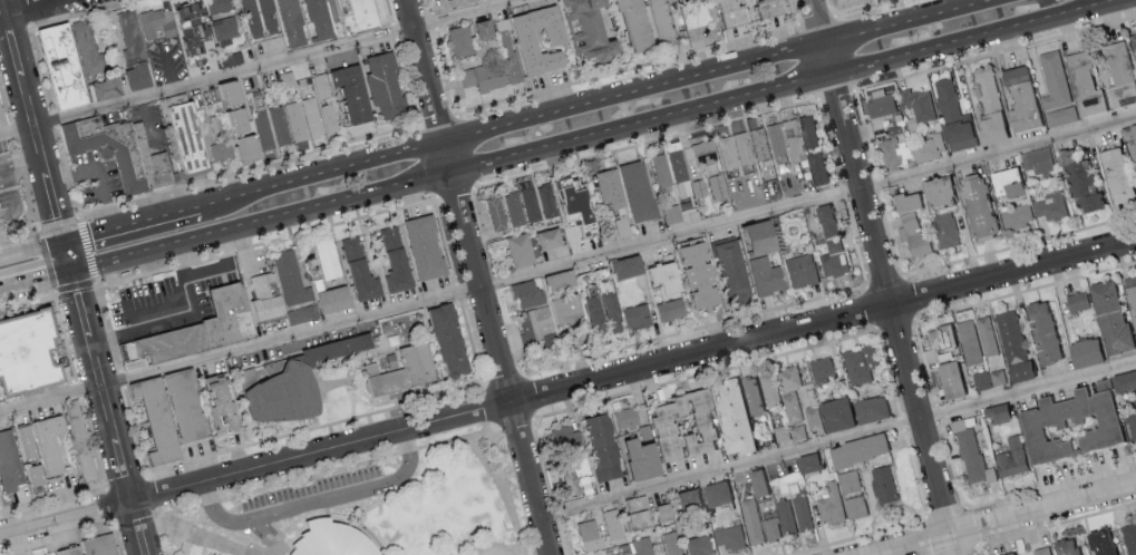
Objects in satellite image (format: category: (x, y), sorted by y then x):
building: (679, 0)
road: (55, 1)
building: (444, 2)
road: (33, 8)
building: (764, 8)
building: (725, 13)
building: (356, 14)
building: (266, 17)
building: (321, 20)
building: (657, 21)
building: (157, 23)
building: (294, 23)
road: (818, 23)
road: (912, 23)
building: (207, 25)
building: (629, 26)
building: (582, 31)
building: (466, 37)
road: (980, 39)
building: (1133, 41)
building: (526, 43)
building: (135, 51)
road: (994, 51)
building: (233, 59)
building: (72, 60)
road: (828, 62)
road: (254, 70)
road: (169, 72)
road: (425, 72)
building: (1117, 75)
building: (480, 78)
building: (1052, 79)
building: (1082, 85)
building: (321, 86)
building: (388, 86)
building: (109, 88)
building: (233, 91)
building: (356, 93)
road: (836, 93)
road: (634, 96)
building: (946, 98)
building: (1019, 99)
building: (881, 103)
building: (917, 106)
building: (988, 109)
building: (1060, 115)
building: (1, 119)
building: (241, 119)
building: (303, 119)
building: (329, 119)
building: (215, 124)
road: (148, 126)
road: (642, 126)
road: (36, 129)
road: (865, 130)
building: (955, 132)
building: (265, 136)
building: (190, 137)
building: (775, 139)
building: (793, 139)
building: (1132, 139)
road: (828, 140)
road: (647, 143)
building: (759, 144)
building: (894, 147)
building: (928, 147)
building: (744, 148)
building: (222, 152)
building: (136, 153)
building: (702, 153)
building: (727, 153)
road: (1, 159)
road: (449, 160)
building: (1039, 160)
building: (817, 167)
building: (660, 169)
building: (678, 169)
road: (6, 173)
road: (99, 174)
building: (1116, 176)
road: (322, 178)
building: (1079, 181)
road: (877, 182)
building: (1004, 183)
building: (716, 187)
building: (697, 188)
building: (604, 189)
road: (456, 192)
building: (632, 192)
road: (843, 192)
building: (936, 192)
road: (161, 194)
building: (527, 199)
building: (545, 201)
building: (566, 202)
building: (905, 202)
building: (1050, 206)
building: (977, 208)
building: (513, 210)
building: (494, 213)
building: (671, 214)
building: (1017, 216)
building: (826, 221)
road: (263, 224)
road: (133, 227)
building: (945, 230)
road: (891, 233)
building: (913, 235)
road: (444, 238)
building: (753, 238)
building: (544, 240)
road: (856, 242)
road: (266, 243)
road: (1019, 244)
traffic signals: (67, 245)
building: (834, 245)
building: (428, 247)
building: (353, 249)
building: (520, 251)
road: (245, 252)
road: (33, 253)
building: (398, 261)
road: (567, 262)
building: (833, 264)
road: (222, 265)
building: (622, 266)
building: (799, 271)
building: (729, 272)
traffic signals: (74, 274)
building: (693, 275)
building: (765, 276)
building: (292, 280)
building: (661, 280)
building: (366, 281)
building: (555, 281)
road: (885, 281)
road: (37, 283)
road: (497, 286)
road: (458, 291)
building: (524, 295)
road: (907, 296)
building: (266, 299)
building: (1132, 299)
building: (338, 300)
building: (1076, 300)
road: (982, 301)
road: (27, 302)
road: (145, 302)
road: (871, 305)
building: (669, 310)
building: (605, 313)
building: (304, 314)
building: (551, 315)
road: (895, 315)
building: (588, 317)
building: (634, 317)
building: (1108, 317)
road: (894, 321)
road: (108, 325)
building: (204, 329)
road: (696, 329)
building: (1041, 332)
road: (508, 334)
building: (941, 334)
building: (987, 334)
road: (65, 335)
building: (970, 340)
building: (453, 341)
road: (472, 342)
building: (1012, 343)
building: (1085, 350)
building: (132, 351)
building: (27, 353)
building: (860, 362)
road: (504, 364)
building: (134, 366)
building: (822, 368)
road: (889, 370)
building: (409, 371)
road: (706, 373)
building: (948, 374)
building: (789, 377)
road: (123, 379)
building: (981, 379)
building: (1123, 379)
road: (505, 380)
building: (770, 389)
road: (79, 390)
road: (569, 391)
building: (414, 392)
building: (750, 395)
road: (531, 396)
building: (281, 399)
building: (225, 403)
road: (489, 406)
road: (107, 407)
building: (188, 407)
building: (792, 407)
building: (868, 407)
road: (938, 411)
building: (994, 411)
building: (730, 415)
building: (828, 415)
building: (624, 418)
building: (161, 420)
park: (304, 420)
road: (902, 420)
road: (514, 421)
building: (700, 423)
road: (312, 428)
road: (136, 429)
road: (476, 432)
building: (788, 432)
building: (562, 437)
road: (839, 438)
building: (81, 441)
road: (91, 441)
building: (29, 442)
building: (54, 444)
building: (599, 446)
building: (856, 448)
building: (971, 452)
building: (1010, 457)
building: (633, 458)
building: (808, 460)
road: (542, 461)
building: (11, 463)
road: (951, 464)
road: (489, 470)
road: (914, 471)
road: (310, 475)
building: (38, 476)
building: (848, 480)
building: (756, 481)
building: (569, 483)
building: (883, 483)
road: (1051, 485)
road: (109, 487)
road: (507, 489)
building: (746, 489)
building: (715, 491)
parking lot: (314, 493)
road: (152, 494)
road: (55, 496)
building: (687, 498)
park: (370, 502)
road: (321, 503)
building: (797, 503)
building: (832, 503)
building: (856, 506)
building: (663, 509)
road: (945, 510)
road: (555, 512)
road: (157, 513)
building: (633, 514)
road: (135, 516)
building: (786, 516)
road: (997, 518)
building: (751, 520)
road: (1057, 523)
building: (611, 524)
road: (972, 525)
building: (771, 528)
road: (164, 535)
road: (198, 535)
building: (589, 535)
road: (929, 535)
building: (729, 536)
road: (856, 536)
road: (117, 537)
road: (562, 537)
building: (1129, 537)
building: (334, 539)
road: (62, 541)
building: (1098, 542)
building: (671, 543)
road: (496, 544)
building: (101, 545)
building: (699, 545)
building: (643, 546)
building: (1065, 546)
road: (955, 549)
road: (979, 549)
building: (71, 552)
building: (1039, 552)
building: (1006, 553)
building: (627, 554)

